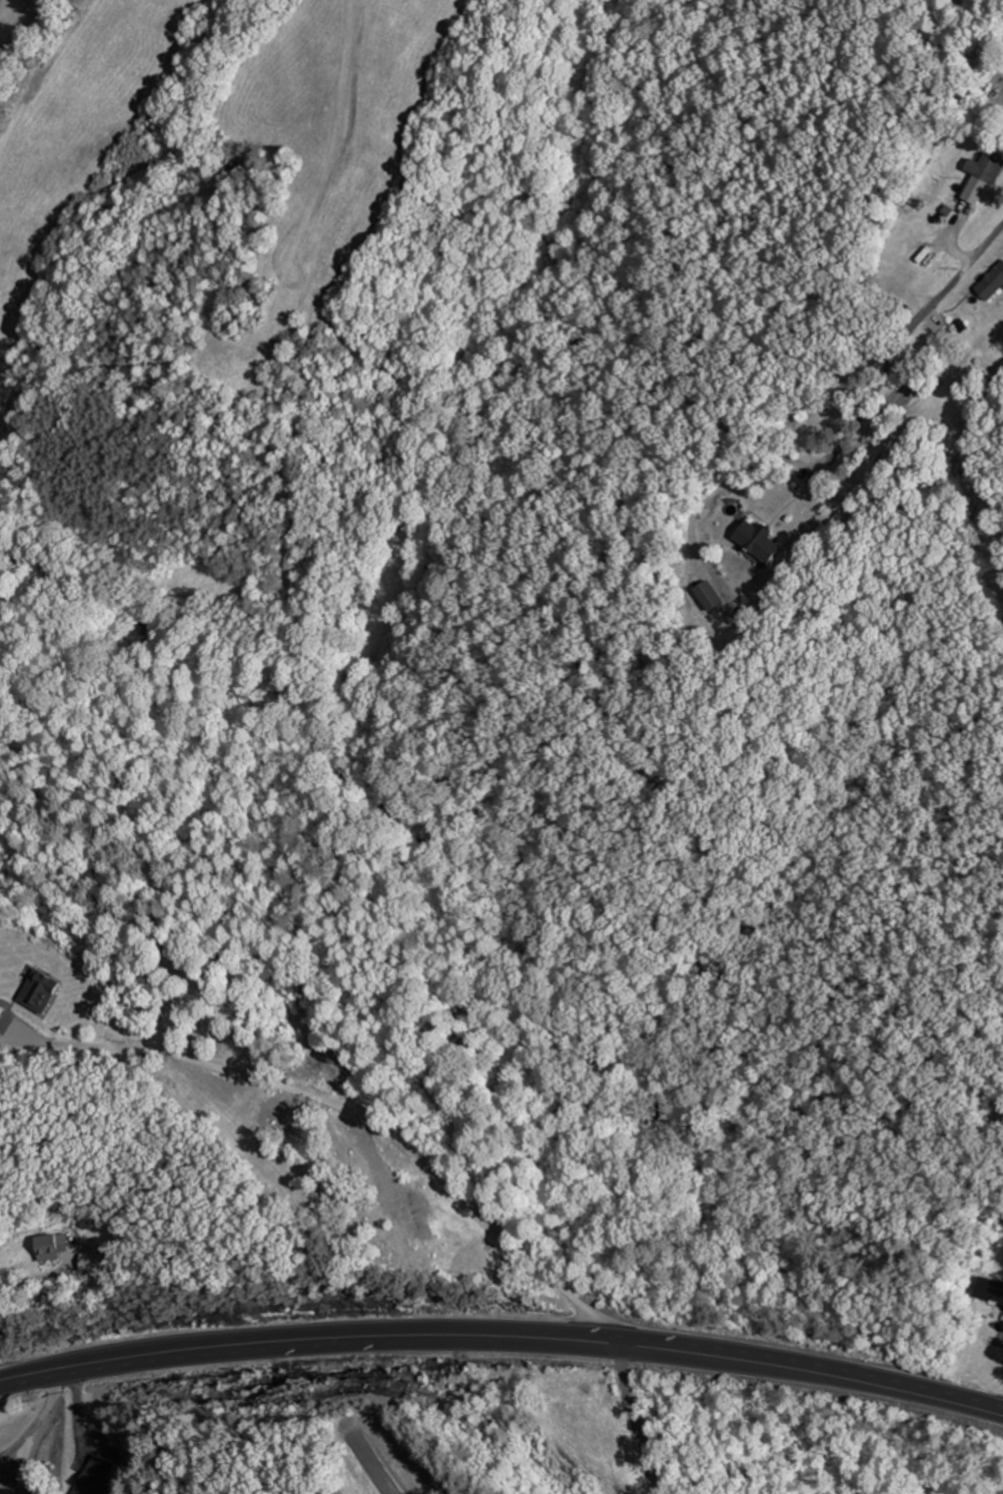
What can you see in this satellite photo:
building: (961, 2)
building: (985, 177)
building: (993, 284)
road: (910, 336)
building: (764, 542)
building: (716, 596)
building: (47, 990)
road: (343, 1108)
building: (56, 1246)
building: (991, 1289)
road: (503, 1338)
road: (637, 1419)
building: (100, 1477)
building: (2, 1490)

